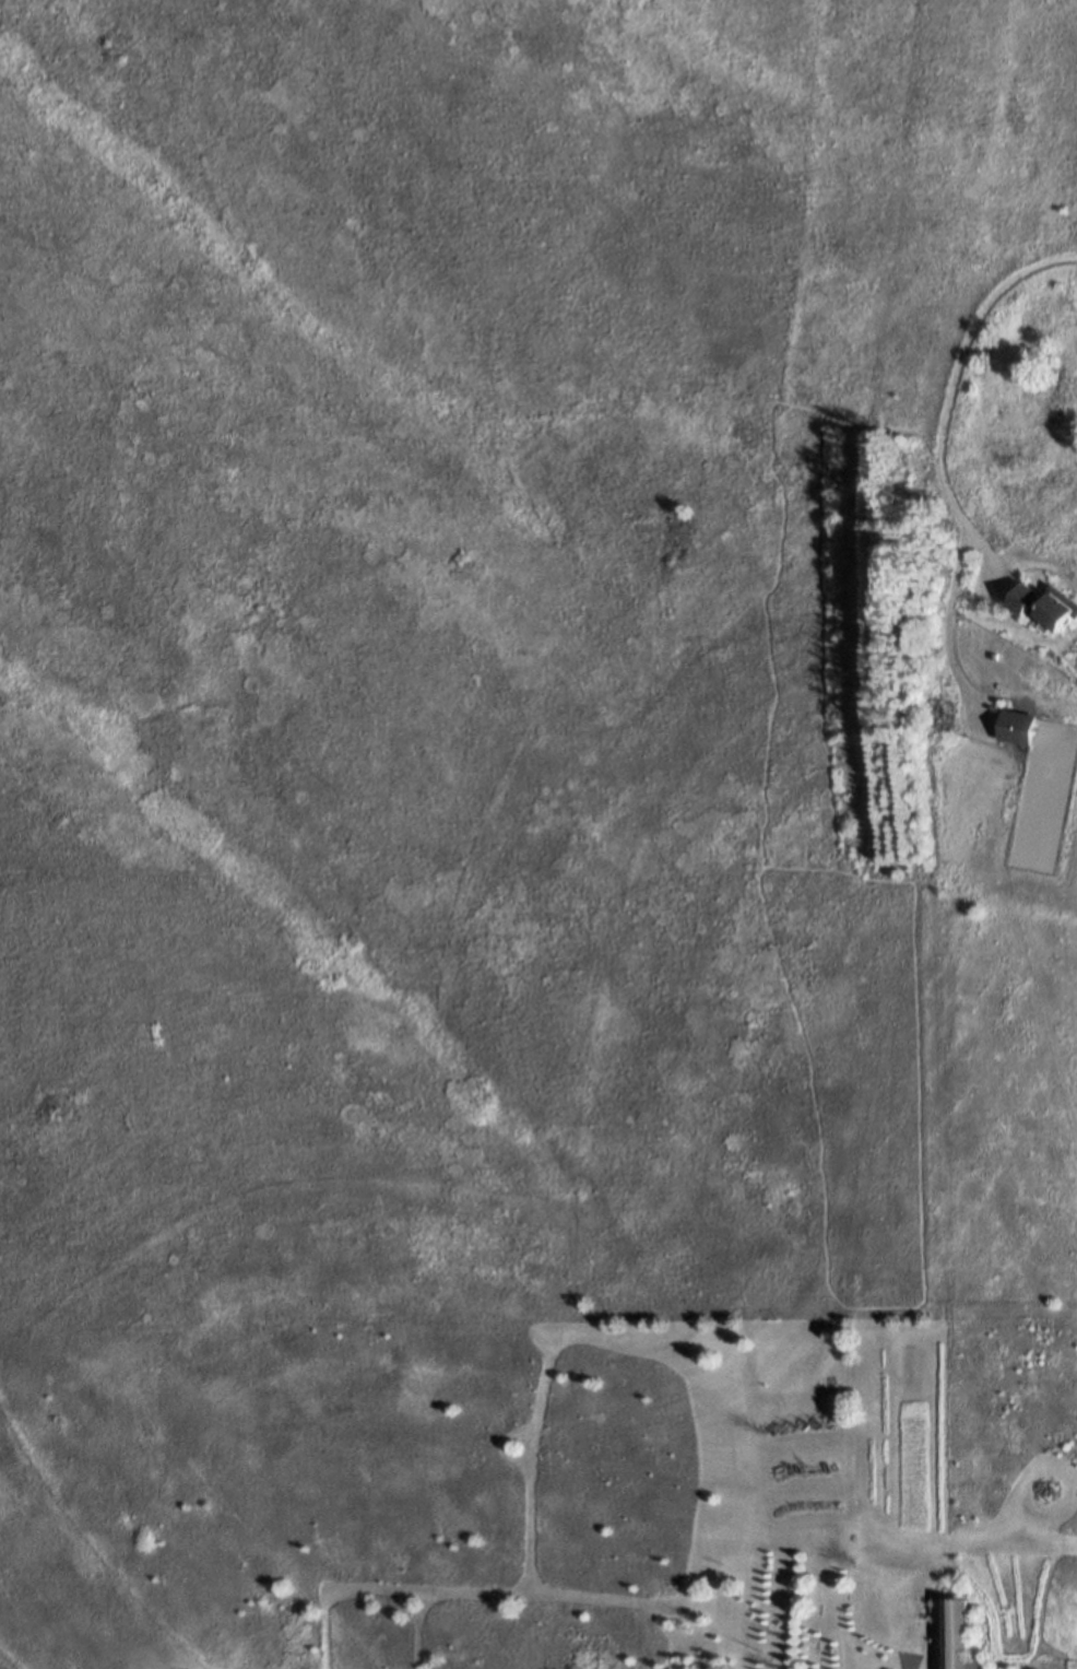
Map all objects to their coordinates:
road: (954, 398)
building: (1046, 604)
road: (949, 619)
building: (1020, 725)
building: (901, 1582)
building: (903, 1612)
building: (899, 1630)
building: (957, 1635)

